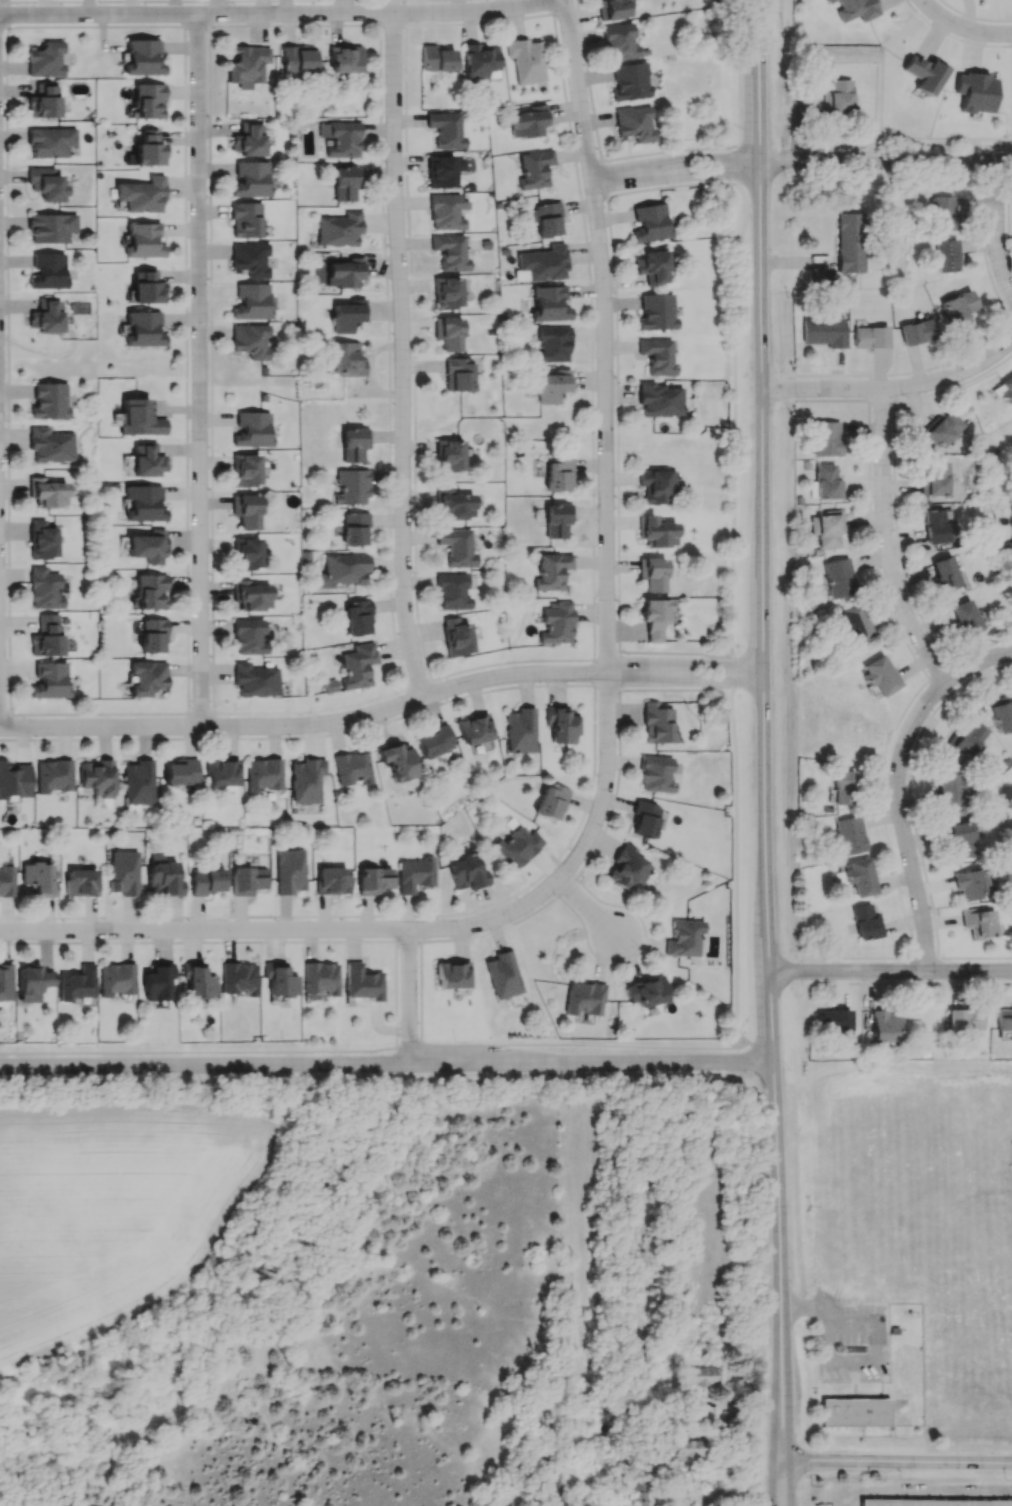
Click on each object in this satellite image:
road: (923, 2)
building: (611, 9)
building: (854, 9)
road: (282, 16)
road: (966, 28)
building: (619, 42)
building: (143, 58)
building: (297, 58)
building: (436, 58)
building: (46, 59)
building: (344, 59)
building: (526, 60)
building: (481, 61)
building: (247, 64)
building: (925, 73)
building: (630, 81)
building: (975, 91)
building: (836, 97)
building: (44, 101)
building: (148, 101)
building: (528, 121)
building: (634, 123)
building: (446, 129)
building: (341, 138)
building: (249, 139)
building: (51, 142)
road: (704, 162)
road: (874, 166)
building: (534, 169)
building: (443, 170)
road: (633, 178)
building: (251, 179)
road: (705, 179)
building: (345, 182)
building: (47, 184)
building: (141, 195)
building: (444, 212)
building: (943, 212)
building: (543, 218)
building: (245, 220)
building: (650, 223)
building: (51, 228)
building: (339, 229)
building: (143, 241)
building: (850, 242)
road: (999, 246)
building: (450, 252)
building: (948, 255)
building: (249, 259)
building: (544, 263)
building: (653, 266)
building: (48, 271)
building: (345, 272)
building: (146, 287)
building: (447, 292)
building: (252, 302)
building: (549, 304)
building: (957, 308)
building: (657, 312)
building: (347, 315)
building: (46, 317)
building: (143, 329)
building: (917, 331)
building: (824, 332)
building: (448, 333)
building: (870, 337)
building: (250, 340)
building: (553, 344)
building: (657, 356)
road: (405, 358)
building: (347, 359)
road: (202, 372)
building: (458, 374)
building: (553, 385)
road: (893, 388)
building: (1005, 389)
building: (660, 400)
building: (49, 401)
building: (139, 418)
building: (252, 429)
building: (942, 429)
building: (827, 438)
building: (354, 443)
building: (51, 445)
road: (606, 445)
building: (449, 455)
building: (146, 461)
building: (245, 470)
building: (558, 474)
building: (934, 478)
building: (824, 482)
building: (657, 485)
building: (351, 487)
building: (48, 493)
building: (144, 503)
building: (453, 505)
building: (246, 511)
building: (557, 520)
building: (934, 526)
building: (351, 527)
building: (826, 528)
building: (657, 531)
building: (43, 538)
road: (887, 543)
building: (147, 546)
building: (456, 547)
building: (247, 553)
building: (341, 570)
building: (552, 571)
building: (653, 573)
building: (946, 573)
road: (0, 577)
building: (838, 578)
building: (44, 588)
building: (150, 591)
building: (452, 591)
building: (251, 595)
building: (356, 617)
building: (654, 617)
building: (965, 617)
building: (557, 623)
building: (853, 623)
building: (152, 635)
building: (47, 636)
building: (249, 636)
building: (456, 637)
road: (979, 663)
building: (358, 665)
road: (707, 668)
building: (879, 675)
building: (147, 677)
road: (754, 677)
building: (50, 680)
building: (255, 680)
road: (707, 684)
building: (329, 685)
building: (1000, 713)
road: (337, 723)
building: (657, 723)
building: (561, 724)
building: (475, 729)
building: (521, 730)
road: (764, 730)
building: (967, 738)
building: (434, 740)
building: (396, 760)
building: (352, 768)
building: (181, 772)
building: (222, 772)
building: (263, 774)
building: (656, 774)
building: (54, 775)
building: (97, 777)
building: (14, 780)
building: (306, 780)
building: (139, 782)
building: (843, 787)
building: (550, 801)
building: (645, 818)
road: (901, 821)
building: (850, 835)
building: (959, 839)
building: (517, 846)
building: (628, 868)
building: (290, 871)
building: (123, 872)
building: (467, 872)
building: (415, 874)
building: (6, 876)
building: (163, 876)
building: (857, 877)
building: (39, 878)
building: (248, 880)
building: (332, 880)
building: (374, 880)
building: (206, 881)
building: (81, 882)
building: (970, 883)
road: (588, 909)
building: (866, 922)
building: (979, 922)
road: (287, 932)
building: (684, 937)
road: (735, 941)
road: (866, 957)
building: (452, 974)
building: (503, 974)
road: (891, 974)
building: (239, 978)
building: (116, 979)
building: (279, 979)
building: (319, 979)
building: (197, 980)
building: (5, 982)
building: (32, 982)
building: (157, 982)
building: (362, 982)
building: (77, 983)
building: (647, 991)
road: (412, 997)
building: (584, 998)
building: (833, 1019)
building: (963, 1020)
building: (1003, 1020)
building: (884, 1025)
road: (375, 1049)
road: (387, 1062)
crop: (110, 1210)
road: (876, 1332)
parking lot: (851, 1340)
building: (700, 1375)
building: (854, 1412)
building: (687, 1448)
road: (896, 1461)
road: (775, 1482)
road: (785, 1482)
building: (636, 1489)
road: (920, 1492)
parking lot: (914, 1495)
building: (931, 1502)

